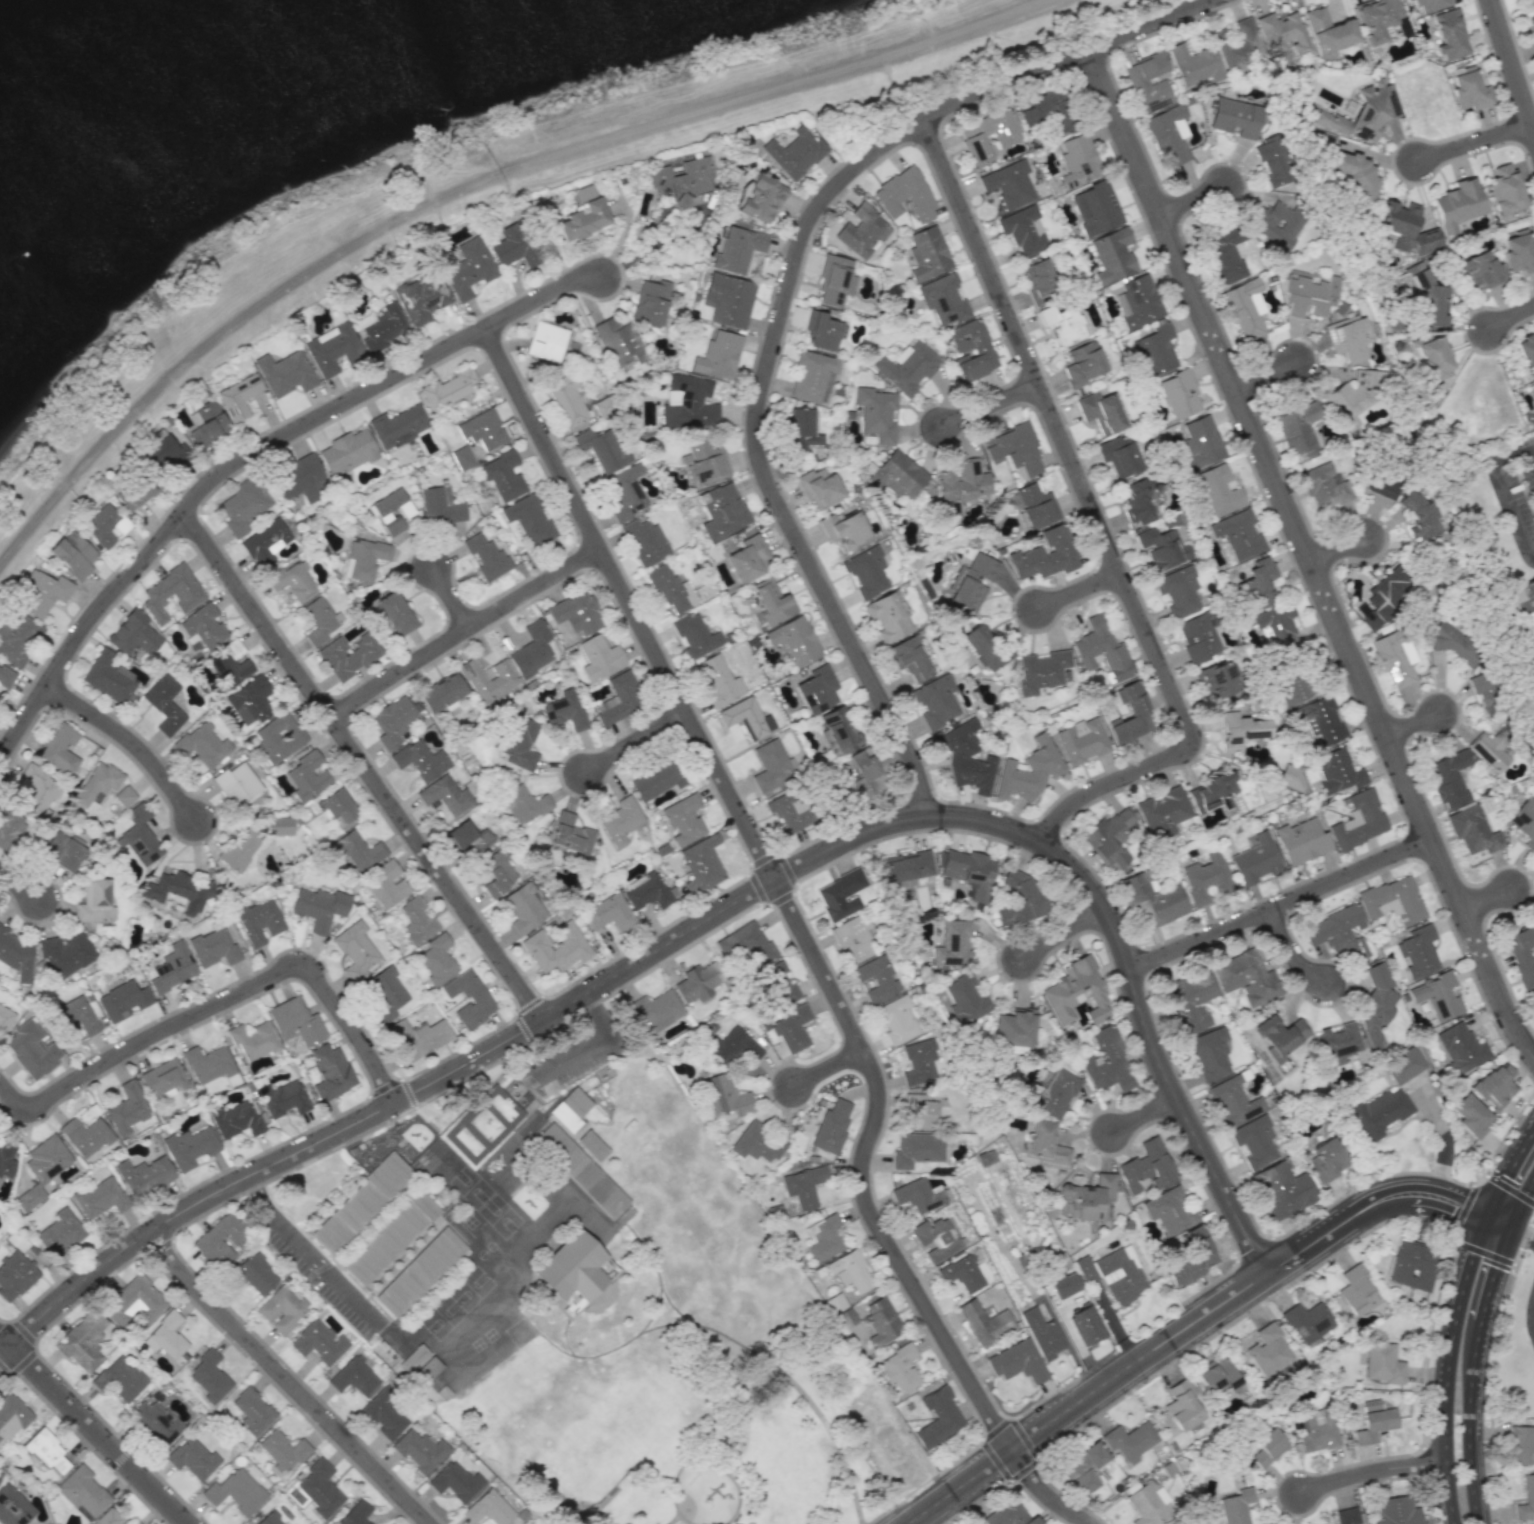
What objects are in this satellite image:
building: (1533, 2)
building: (1377, 18)
building: (1531, 21)
building: (1283, 31)
building: (1328, 32)
building: (1450, 35)
building: (1237, 47)
building: (1195, 64)
road: (1512, 66)
river: (104, 75)
building: (1149, 82)
building: (1470, 89)
road: (771, 90)
building: (1041, 106)
building: (1364, 112)
building: (1235, 118)
building: (1169, 135)
building: (1007, 137)
road: (1474, 142)
building: (795, 152)
building: (1078, 160)
building: (1274, 160)
building: (1352, 176)
building: (682, 181)
building: (1008, 183)
building: (1504, 190)
building: (763, 195)
building: (905, 195)
road: (1194, 201)
building: (1457, 204)
building: (1096, 208)
building: (584, 219)
building: (1277, 223)
building: (1404, 228)
building: (864, 230)
building: (1023, 230)
building: (514, 246)
building: (739, 248)
building: (1518, 252)
building: (927, 253)
building: (1226, 253)
building: (1113, 255)
building: (468, 268)
building: (1479, 269)
building: (835, 279)
building: (1038, 280)
building: (1309, 294)
building: (422, 298)
building: (730, 298)
building: (651, 300)
building: (944, 300)
building: (1139, 302)
building: (1428, 302)
road: (787, 303)
building: (1245, 308)
road: (1510, 316)
building: (1061, 324)
building: (385, 327)
building: (825, 329)
road: (221, 337)
building: (1348, 337)
building: (546, 340)
building: (618, 342)
building: (332, 349)
building: (1525, 349)
building: (982, 350)
building: (1155, 350)
building: (719, 354)
building: (1431, 354)
building: (1082, 363)
building: (907, 368)
building: (286, 372)
building: (813, 373)
road: (1268, 376)
building: (1533, 382)
building: (447, 389)
building: (1533, 392)
building: (1180, 394)
building: (239, 395)
building: (1354, 396)
building: (567, 399)
building: (690, 403)
building: (605, 406)
road: (993, 407)
building: (1101, 412)
building: (876, 413)
building: (398, 423)
building: (207, 424)
building: (483, 429)
building: (1299, 429)
building: (802, 431)
building: (1201, 443)
building: (602, 448)
building: (1014, 449)
building: (347, 452)
building: (165, 453)
road: (247, 453)
road: (1514, 453)
road: (1531, 454)
building: (1119, 456)
building: (462, 458)
building: (706, 461)
street lamp: (747, 474)
building: (503, 475)
building: (300, 479)
building: (961, 484)
building: (1381, 484)
building: (1325, 486)
building: (819, 487)
building: (1217, 490)
building: (137, 492)
building: (626, 492)
building: (1140, 497)
building: (242, 506)
building: (440, 506)
building: (1036, 506)
road: (1514, 509)
building: (390, 510)
building: (722, 511)
building: (1419, 516)
road: (1098, 517)
building: (529, 519)
building: (105, 525)
building: (843, 528)
building: (1238, 534)
building: (645, 542)
building: (266, 543)
building: (1162, 548)
road: (1341, 551)
road: (1309, 552)
building: (73, 554)
building: (1045, 555)
building: (486, 557)
building: (366, 558)
building: (748, 558)
building: (866, 571)
building: (1260, 579)
building: (293, 580)
building: (971, 582)
building: (670, 589)
building: (1178, 591)
building: (171, 592)
building: (42, 593)
road: (1082, 593)
road: (449, 596)
building: (1385, 597)
building: (772, 601)
building: (1526, 606)
building: (575, 613)
building: (396, 614)
building: (887, 617)
building: (320, 619)
street lamp: (443, 621)
building: (203, 626)
road: (461, 630)
building: (134, 634)
building: (696, 635)
building: (1199, 636)
building: (19, 639)
building: (794, 640)
building: (986, 647)
building: (531, 650)
building: (1102, 650)
building: (348, 655)
building: (1394, 657)
building: (599, 658)
building: (910, 658)
building: (229, 664)
building: (1042, 671)
building: (6, 676)
building: (108, 677)
building: (489, 680)
building: (1218, 680)
building: (720, 681)
building: (1295, 687)
building: (816, 690)
building: (1486, 691)
building: (441, 692)
building: (619, 699)
building: (251, 701)
building: (936, 701)
building: (164, 703)
building: (564, 710)
building: (1130, 714)
building: (747, 718)
building: (1320, 719)
building: (392, 721)
road: (1416, 725)
building: (1240, 730)
building: (279, 737)
road: (128, 739)
building: (1081, 740)
building: (520, 744)
road: (639, 744)
building: (202, 745)
building: (59, 748)
building: (1490, 750)
building: (966, 758)
building: (419, 759)
building: (771, 766)
road: (363, 767)
building: (1028, 770)
building: (1337, 771)
building: (861, 775)
building: (307, 776)
building: (1289, 776)
building: (1448, 778)
building: (657, 780)
building: (97, 784)
building: (237, 784)
building: (37, 792)
building: (1211, 793)
building: (445, 795)
building: (124, 796)
building: (523, 804)
building: (337, 806)
building: (790, 812)
building: (1162, 812)
building: (682, 819)
building: (1358, 821)
building: (1525, 821)
building: (619, 822)
building: (11, 830)
building: (1473, 830)
building: (571, 835)
building: (139, 836)
building: (467, 838)
building: (1109, 838)
building: (1301, 841)
building: (240, 848)
building: (63, 851)
building: (357, 851)
building: (1255, 860)
building: (701, 864)
building: (906, 867)
building: (969, 871)
building: (496, 872)
building: (1205, 877)
road: (780, 883)
building: (385, 885)
road: (21, 886)
building: (179, 891)
building: (647, 892)
building: (841, 894)
building: (1019, 898)
building: (1152, 898)
building: (1393, 900)
road: (1491, 900)
building: (95, 901)
road: (1284, 904)
building: (319, 908)
building: (523, 908)
building: (609, 913)
building: (416, 920)
building: (260, 922)
road: (1066, 933)
building: (1338, 933)
building: (852, 939)
building: (745, 943)
building: (952, 944)
building: (213, 948)
building: (555, 949)
building: (356, 951)
building: (1417, 951)
building: (67, 952)
road: (1294, 952)
building: (1521, 954)
building: (16, 955)
building: (436, 959)
building: (172, 967)
building: (1247, 977)
building: (876, 978)
building: (697, 982)
building: (780, 983)
building: (1076, 992)
building: (384, 993)
building: (1533, 995)
road: (1140, 996)
building: (1437, 996)
building: (469, 999)
building: (964, 999)
road: (221, 1000)
building: (123, 1001)
building: (1190, 1001)
building: (1375, 1003)
building: (657, 1010)
road: (600, 1013)
building: (76, 1015)
building: (5, 1018)
building: (895, 1019)
building: (296, 1021)
building: (791, 1028)
building: (1014, 1028)
building: (1280, 1036)
building: (417, 1037)
building: (253, 1040)
building: (1337, 1043)
building: (733, 1047)
building: (1460, 1047)
building: (32, 1050)
building: (1209, 1053)
road: (569, 1055)
building: (917, 1060)
building: (1106, 1061)
road: (518, 1062)
building: (208, 1063)
building: (1403, 1065)
road: (464, 1068)
road: (833, 1070)
building: (330, 1071)
building: (163, 1077)
building: (1494, 1085)
building: (1054, 1092)
building: (725, 1096)
building: (283, 1098)
building: (1233, 1100)
building: (127, 1108)
building: (920, 1112)
building: (1379, 1113)
building: (1470, 1115)
building: (564, 1116)
road: (1146, 1116)
building: (236, 1120)
building: (483, 1125)
building: (831, 1126)
building: (85, 1136)
building: (1254, 1141)
building: (757, 1142)
building: (1045, 1144)
building: (592, 1145)
building: (189, 1147)
building: (917, 1149)
building: (1325, 1160)
building: (1147, 1167)
building: (42, 1169)
building: (580, 1170)
road: (1507, 1172)
building: (144, 1175)
building: (803, 1186)
road: (1510, 1188)
building: (1283, 1189)
building: (917, 1195)
building: (100, 1197)
building: (1087, 1197)
building: (361, 1203)
road: (1521, 1204)
road: (1464, 1208)
building: (1169, 1210)
road: (1497, 1224)
building: (60, 1232)
road: (1521, 1234)
building: (390, 1237)
building: (826, 1238)
building: (936, 1238)
building: (219, 1240)
building: (1200, 1246)
road: (1486, 1252)
road: (312, 1254)
building: (1412, 1266)
building: (575, 1271)
building: (850, 1271)
building: (419, 1272)
building: (1183, 1272)
building: (256, 1274)
building: (961, 1274)
building: (1114, 1274)
road: (1491, 1274)
building: (1065, 1285)
building: (1355, 1290)
building: (133, 1301)
building: (835, 1303)
building: (281, 1309)
road: (654, 1310)
park: (640, 1317)
road: (1533, 1317)
building: (846, 1318)
building: (881, 1321)
building: (1306, 1321)
building: (984, 1322)
building: (1086, 1324)
road: (1119, 1329)
road: (1188, 1329)
building: (1042, 1334)
building: (166, 1336)
road: (6, 1339)
building: (83, 1341)
building: (319, 1342)
road: (554, 1344)
road: (614, 1347)
building: (1264, 1351)
road: (6, 1352)
building: (414, 1358)
road: (761, 1358)
building: (1017, 1362)
building: (1382, 1363)
road: (1447, 1368)
building: (899, 1369)
building: (427, 1370)
building: (209, 1377)
building: (354, 1377)
building: (1217, 1377)
building: (120, 1379)
road: (289, 1381)
road: (732, 1389)
building: (1181, 1405)
building: (252, 1411)
building: (384, 1414)
building: (11, 1416)
building: (938, 1417)
building: (155, 1422)
road: (1467, 1422)
building: (1374, 1425)
road: (739, 1429)
building: (1315, 1429)
road: (708, 1433)
road: (100, 1435)
building: (733, 1439)
road: (982, 1440)
building: (1129, 1441)
building: (1521, 1445)
building: (1267, 1447)
building: (282, 1450)
building: (420, 1450)
building: (46, 1451)
building: (193, 1458)
road: (702, 1458)
park: (756, 1459)
building: (1084, 1467)
road: (1371, 1472)
building: (456, 1482)
building: (320, 1488)
building: (82, 1492)
building: (236, 1492)
road: (1044, 1493)
building: (1526, 1498)
building: (1147, 1504)
building: (1236, 1506)
building: (13, 1507)
building: (489, 1508)
building: (1396, 1511)
building: (355, 1514)
building: (1009, 1515)
building: (1346, 1516)
building: (108, 1518)
building: (269, 1519)
building: (135, 1522)
building: (1179, 1522)

